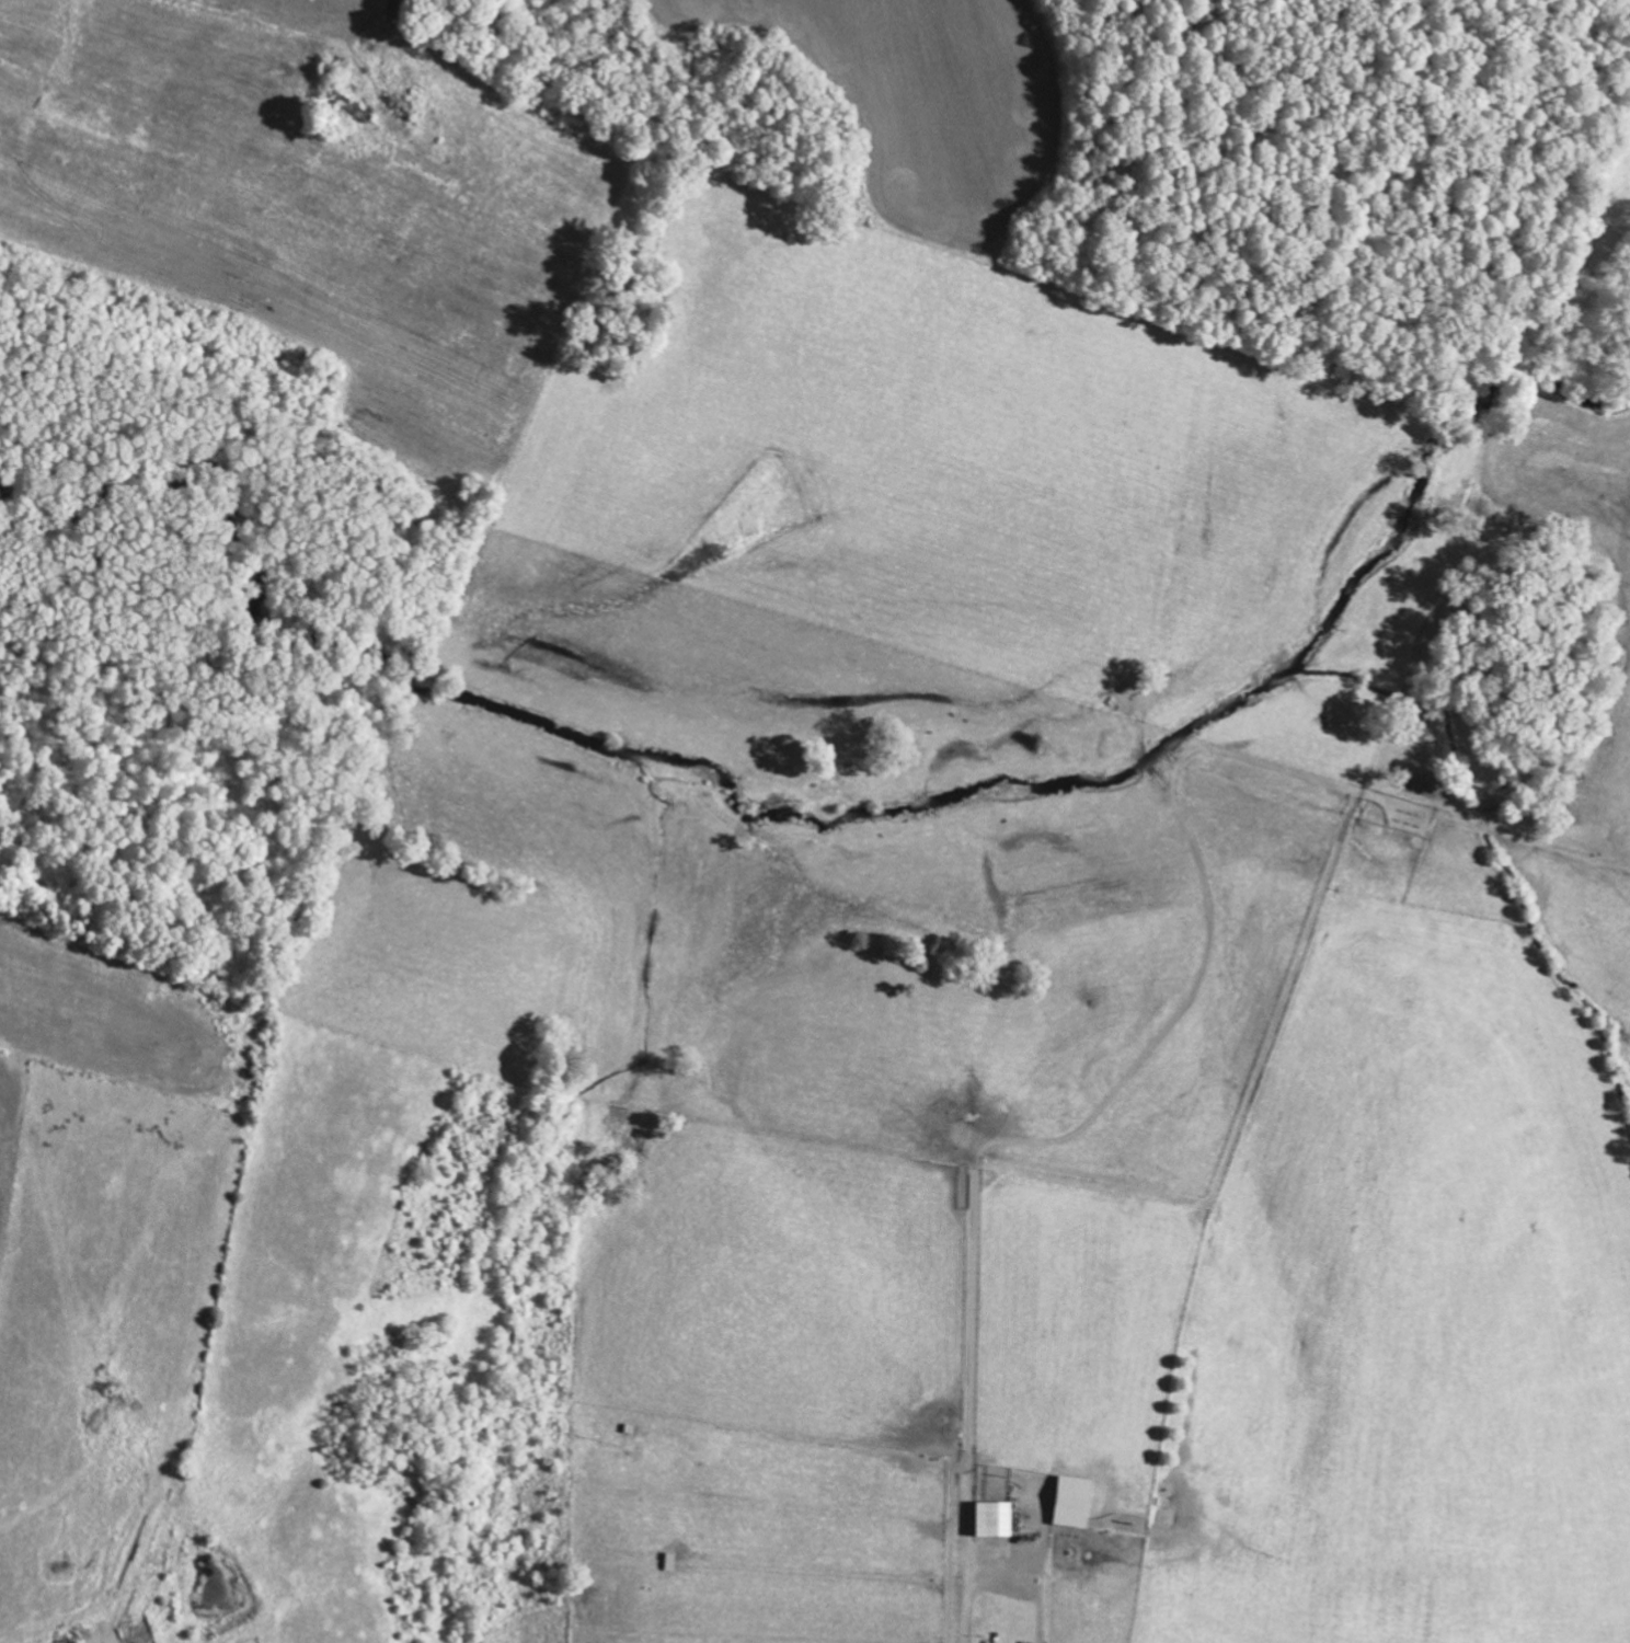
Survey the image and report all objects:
building: (1075, 1500)
building: (996, 1517)

